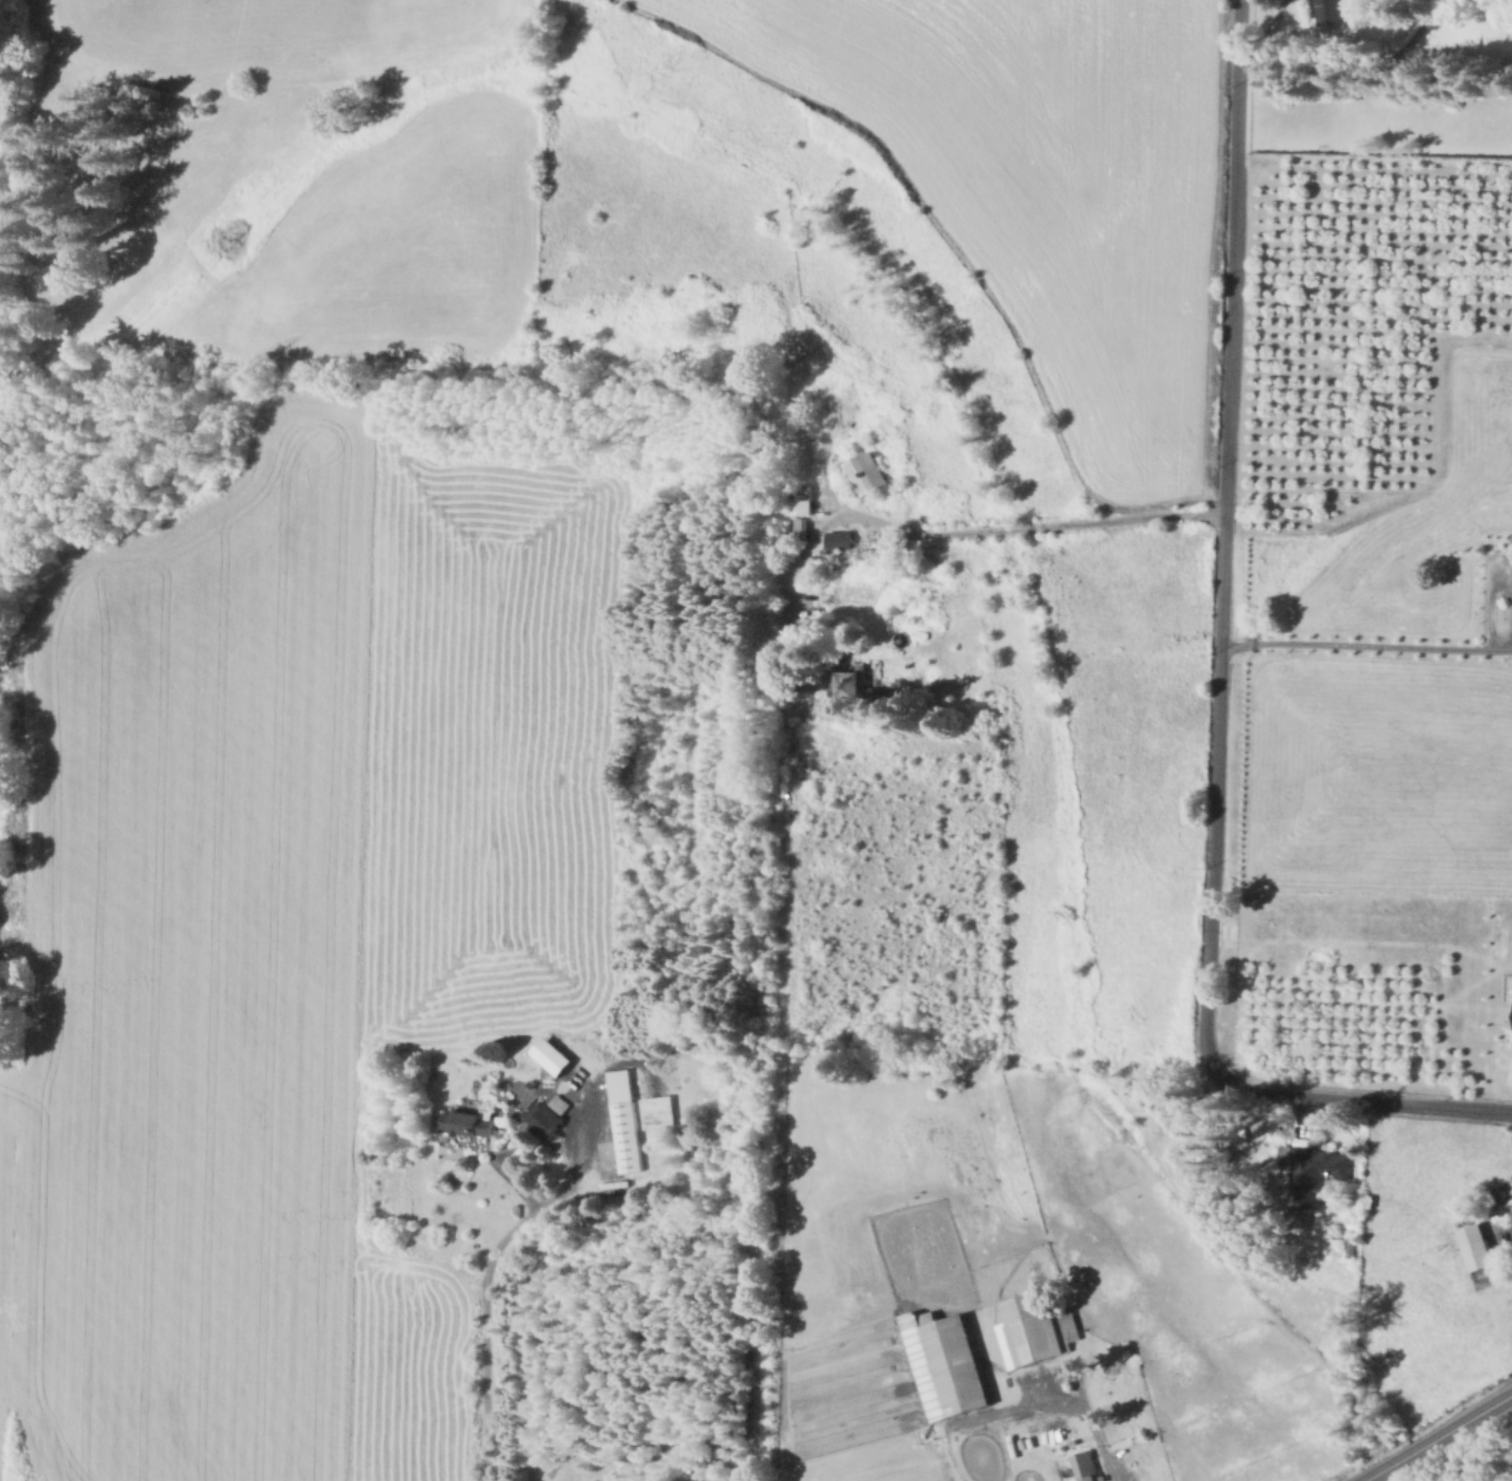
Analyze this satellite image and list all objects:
building: (1330, 11)
road: (1287, 28)
road: (1317, 56)
road: (1415, 59)
crop: (1046, 182)
building: (868, 475)
building: (803, 500)
building: (802, 530)
road: (923, 534)
building: (841, 541)
road: (1366, 644)
building: (852, 684)
road: (1219, 688)
crop: (292, 935)
building: (561, 1105)
building: (661, 1112)
building: (545, 1121)
building: (626, 1121)
building: (470, 1122)
road: (509, 1153)
building: (1315, 1173)
building: (1511, 1207)
road: (1503, 1226)
building: (1478, 1247)
building: (1351, 1253)
road: (490, 1263)
building: (1068, 1327)
building: (1031, 1330)
building: (947, 1364)
road: (1048, 1400)
road: (1491, 1406)
building: (1068, 1425)
road: (1419, 1448)
building: (1088, 1474)
road: (1365, 1479)

